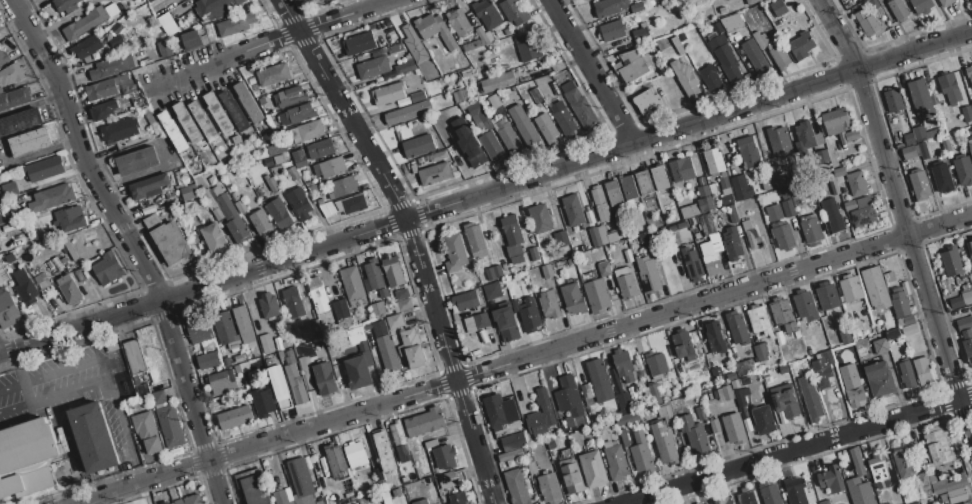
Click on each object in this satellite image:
building: (728, 0)
building: (842, 0)
building: (968, 0)
building: (651, 1)
building: (752, 1)
building: (944, 2)
building: (65, 5)
building: (873, 5)
building: (922, 6)
building: (609, 7)
building: (637, 7)
building: (215, 8)
building: (778, 8)
building: (722, 10)
building: (899, 10)
building: (514, 12)
building: (487, 13)
building: (89, 21)
building: (459, 22)
building: (732, 22)
building: (868, 23)
building: (235, 25)
building: (717, 28)
building: (435, 29)
building: (612, 31)
building: (640, 32)
building: (484, 35)
building: (190, 39)
road: (277, 39)
building: (760, 39)
building: (116, 41)
building: (359, 43)
building: (414, 44)
building: (661, 44)
building: (471, 45)
building: (677, 45)
building: (801, 45)
building: (87, 47)
building: (165, 48)
building: (528, 48)
building: (395, 49)
building: (778, 53)
building: (754, 54)
building: (4, 58)
building: (727, 62)
building: (632, 65)
building: (251, 67)
building: (373, 67)
building: (111, 68)
building: (405, 68)
road: (592, 71)
building: (467, 72)
building: (969, 73)
building: (273, 74)
building: (10, 75)
building: (686, 78)
building: (711, 78)
building: (252, 80)
building: (498, 82)
building: (110, 87)
building: (255, 87)
building: (950, 88)
building: (389, 93)
building: (460, 95)
building: (536, 95)
building: (417, 96)
building: (290, 97)
building: (14, 99)
building: (920, 99)
building: (262, 100)
building: (893, 100)
building: (495, 101)
building: (646, 101)
building: (248, 102)
building: (404, 102)
road: (31, 104)
building: (579, 105)
building: (971, 108)
building: (103, 110)
building: (235, 110)
building: (218, 112)
building: (407, 113)
building: (477, 113)
building: (967, 113)
building: (298, 115)
building: (562, 117)
building: (150, 118)
building: (204, 120)
building: (20, 121)
building: (835, 121)
building: (188, 123)
building: (523, 124)
building: (546, 127)
building: (119, 130)
building: (311, 130)
building: (173, 131)
building: (447, 135)
building: (508, 135)
building: (852, 135)
building: (919, 135)
building: (805, 138)
building: (29, 142)
building: (780, 142)
building: (468, 144)
building: (418, 146)
building: (491, 146)
building: (970, 147)
building: (277, 148)
building: (321, 148)
building: (915, 151)
building: (749, 152)
building: (294, 153)
building: (439, 156)
building: (279, 159)
building: (713, 160)
building: (137, 161)
building: (300, 161)
building: (826, 165)
building: (329, 168)
building: (44, 169)
building: (681, 169)
building: (963, 169)
building: (277, 170)
building: (839, 171)
building: (294, 173)
building: (435, 174)
building: (941, 177)
building: (779, 179)
building: (271, 182)
building: (310, 183)
building: (644, 183)
building: (661, 184)
building: (766, 184)
building: (857, 184)
building: (919, 184)
building: (149, 186)
building: (833, 186)
building: (343, 187)
building: (628, 187)
building: (741, 187)
building: (314, 188)
building: (713, 189)
building: (725, 190)
building: (794, 190)
building: (190, 192)
road: (486, 192)
building: (784, 193)
building: (613, 194)
road: (897, 196)
building: (51, 197)
building: (705, 199)
building: (300, 204)
building: (352, 204)
building: (600, 204)
building: (849, 205)
building: (241, 206)
building: (328, 208)
building: (788, 208)
building: (573, 209)
building: (690, 210)
building: (278, 211)
building: (863, 212)
building: (218, 213)
building: (732, 214)
building: (832, 214)
building: (676, 215)
building: (231, 216)
building: (590, 217)
building: (70, 218)
building: (540, 218)
building: (1, 220)
building: (695, 220)
building: (261, 222)
building: (707, 224)
building: (682, 225)
building: (780, 228)
building: (810, 229)
building: (606, 234)
building: (89, 235)
building: (697, 235)
building: (594, 236)
building: (751, 236)
building: (215, 237)
building: (513, 237)
building: (562, 238)
building: (645, 239)
road: (416, 240)
building: (475, 241)
building: (171, 242)
building: (731, 244)
road: (133, 245)
building: (706, 248)
building: (575, 249)
building: (970, 249)
building: (455, 252)
building: (534, 253)
building: (26, 257)
building: (10, 258)
building: (63, 260)
building: (571, 261)
building: (953, 261)
building: (560, 263)
building: (49, 264)
building: (57, 264)
building: (692, 264)
building: (713, 267)
building: (971, 267)
building: (603, 268)
building: (109, 269)
building: (393, 270)
building: (547, 271)
building: (493, 273)
building: (536, 273)
building: (374, 274)
building: (647, 274)
building: (2, 275)
building: (42, 281)
building: (626, 282)
building: (353, 286)
building: (875, 287)
building: (26, 288)
building: (850, 288)
building: (69, 289)
building: (334, 290)
building: (492, 291)
building: (595, 293)
building: (318, 294)
building: (827, 296)
building: (572, 298)
building: (962, 299)
building: (466, 300)
building: (293, 302)
building: (899, 303)
building: (549, 304)
building: (269, 305)
building: (402, 305)
building: (805, 305)
building: (379, 307)
building: (8, 310)
building: (343, 313)
building: (782, 313)
building: (528, 314)
building: (324, 317)
building: (242, 319)
building: (759, 319)
building: (482, 320)
building: (908, 320)
building: (395, 322)
building: (506, 323)
building: (964, 323)
building: (470, 324)
building: (737, 327)
building: (316, 329)
building: (199, 330)
building: (909, 330)
building: (226, 331)
building: (797, 334)
building: (715, 336)
building: (846, 336)
building: (409, 337)
building: (267, 343)
building: (287, 343)
building: (209, 344)
building: (967, 344)
building: (683, 345)
building: (880, 345)
building: (298, 350)
building: (760, 352)
building: (388, 353)
building: (413, 355)
building: (134, 356)
building: (207, 360)
building: (359, 360)
road: (524, 361)
building: (303, 363)
building: (656, 364)
building: (623, 365)
road: (15, 367)
building: (746, 367)
road: (108, 368)
building: (823, 369)
building: (922, 370)
building: (716, 373)
building: (906, 374)
building: (293, 376)
building: (731, 376)
building: (324, 377)
building: (222, 378)
building: (879, 379)
building: (136, 380)
building: (599, 380)
building: (616, 381)
building: (737, 383)
building: (280, 387)
parking lot: (72, 390)
building: (143, 390)
building: (586, 391)
road: (24, 393)
building: (653, 393)
building: (726, 393)
building: (855, 394)
building: (568, 397)
building: (741, 397)
building: (159, 398)
building: (810, 399)
building: (262, 402)
building: (624, 403)
building: (786, 403)
building: (499, 410)
building: (701, 413)
building: (541, 416)
road: (966, 416)
building: (234, 417)
building: (628, 419)
building: (762, 420)
building: (425, 422)
building: (566, 423)
building: (170, 426)
building: (715, 426)
building: (734, 428)
building: (147, 434)
building: (693, 434)
building: (665, 435)
building: (399, 436)
building: (94, 437)
building: (510, 440)
building: (431, 443)
building: (551, 444)
building: (938, 446)
road: (801, 449)
building: (385, 452)
building: (639, 452)
building: (356, 454)
building: (27, 457)
building: (445, 457)
building: (904, 459)
building: (336, 460)
building: (615, 460)
building: (532, 467)
building: (877, 467)
building: (593, 468)
building: (891, 472)
building: (379, 475)
building: (299, 478)
building: (572, 478)
building: (922, 478)
building: (831, 479)
building: (448, 480)
building: (948, 485)
building: (253, 486)
building: (517, 488)
building: (549, 488)
building: (795, 490)
building: (860, 491)
building: (770, 493)
building: (747, 496)
building: (955, 496)
building: (282, 497)
building: (333, 497)
building: (457, 498)
building: (189, 500)
building: (387, 501)
building: (421, 501)
building: (722, 501)
building: (164, 502)
building: (319, 502)
building: (825, 502)
building: (914, 502)
building: (888, 503)
building: (967, 503)

